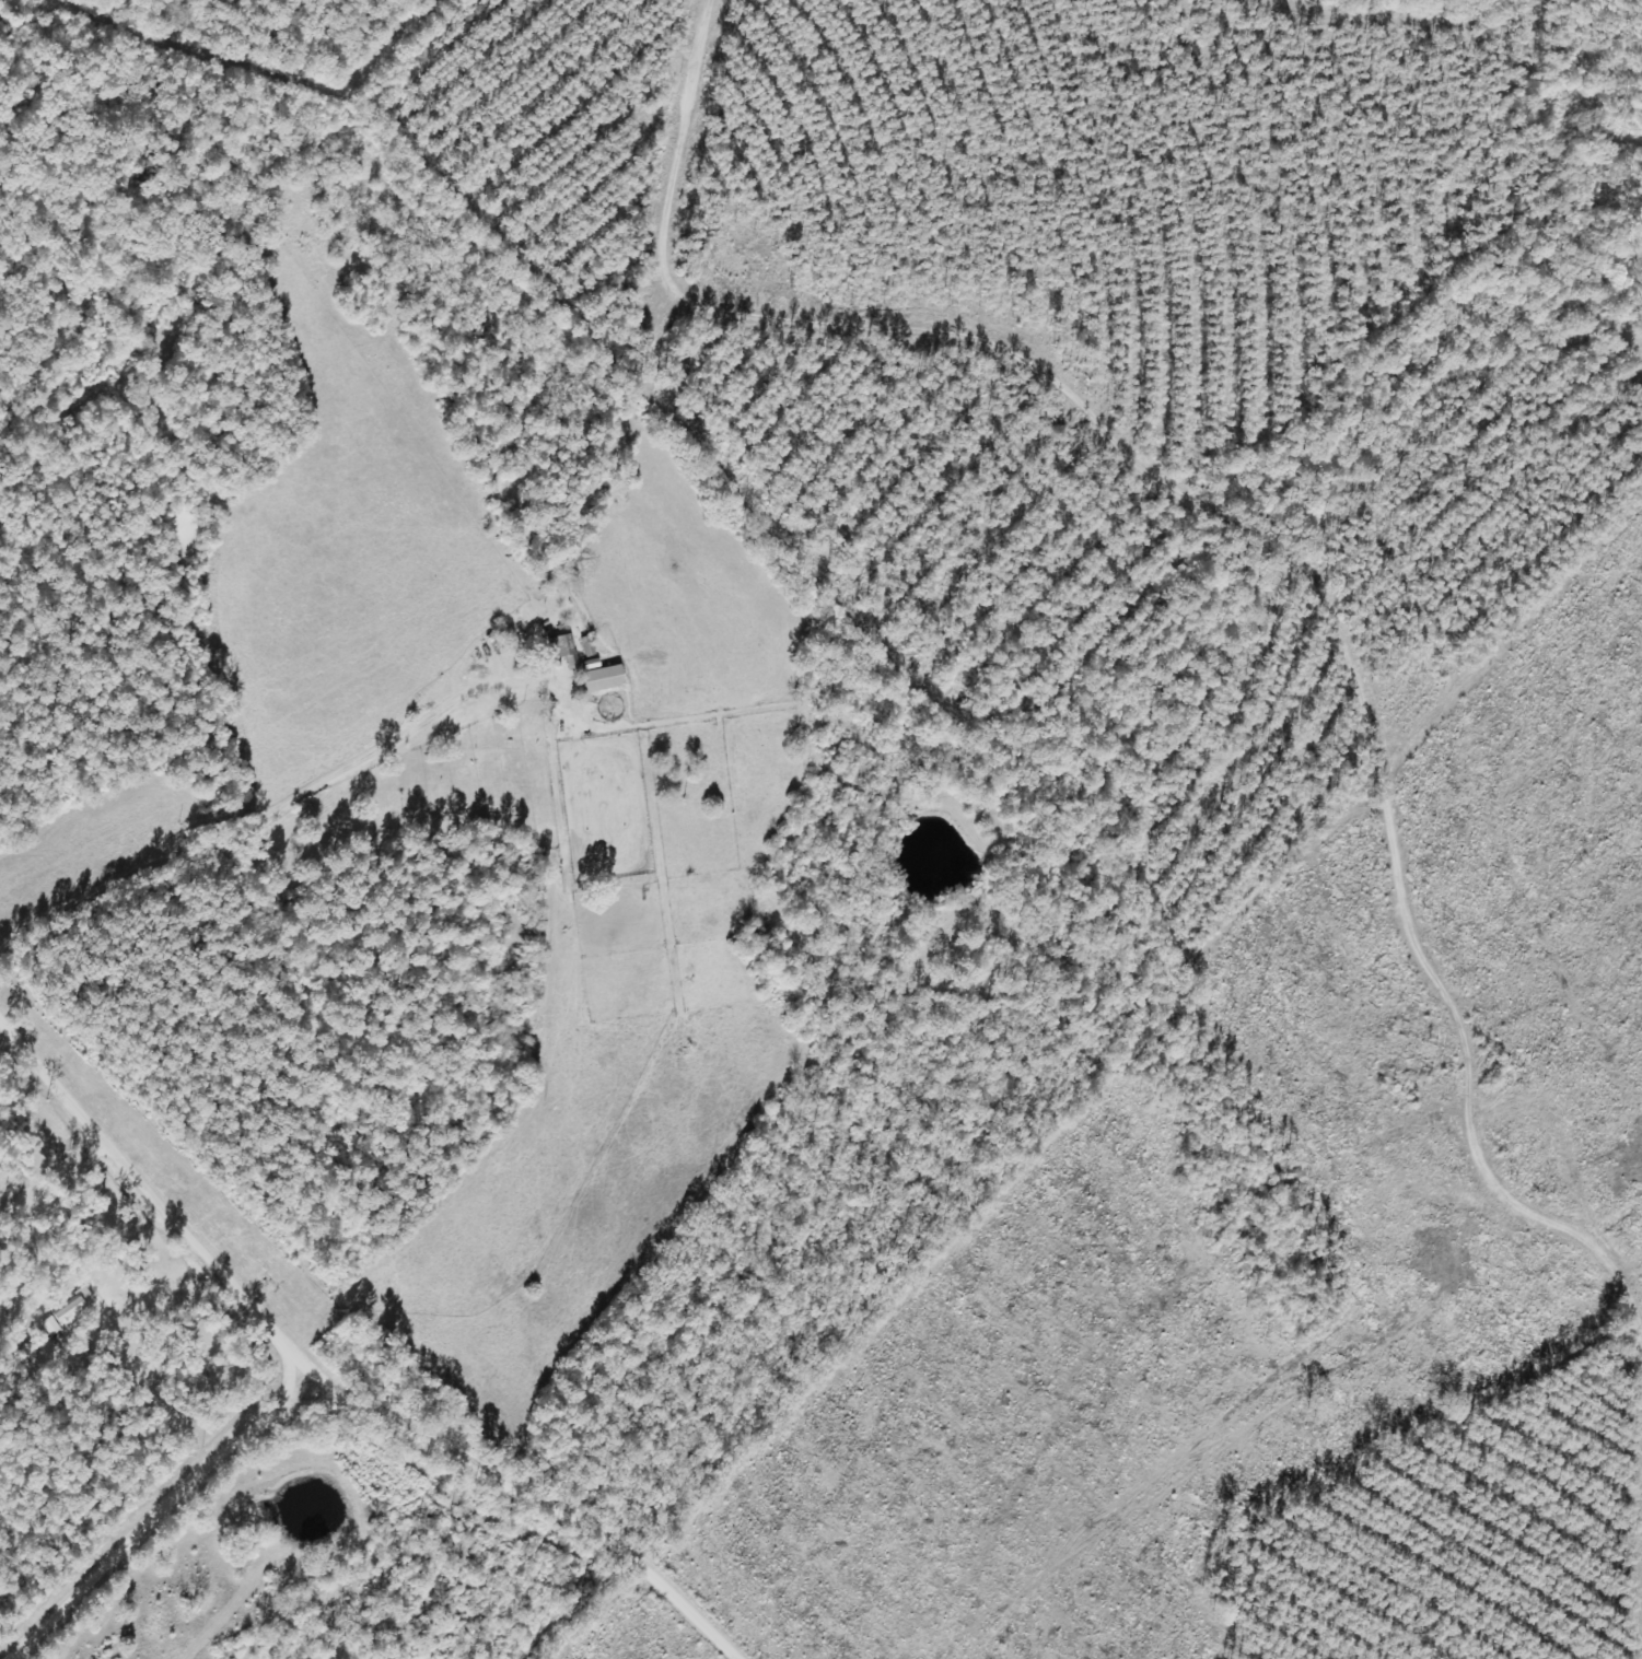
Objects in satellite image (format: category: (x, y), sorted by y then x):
road: (824, 339)
building: (564, 650)
road: (214, 670)
building: (602, 679)
road: (129, 1181)
building: (82, 1308)
road: (277, 1372)
road: (261, 1387)
road: (540, 1487)
road: (149, 1526)

